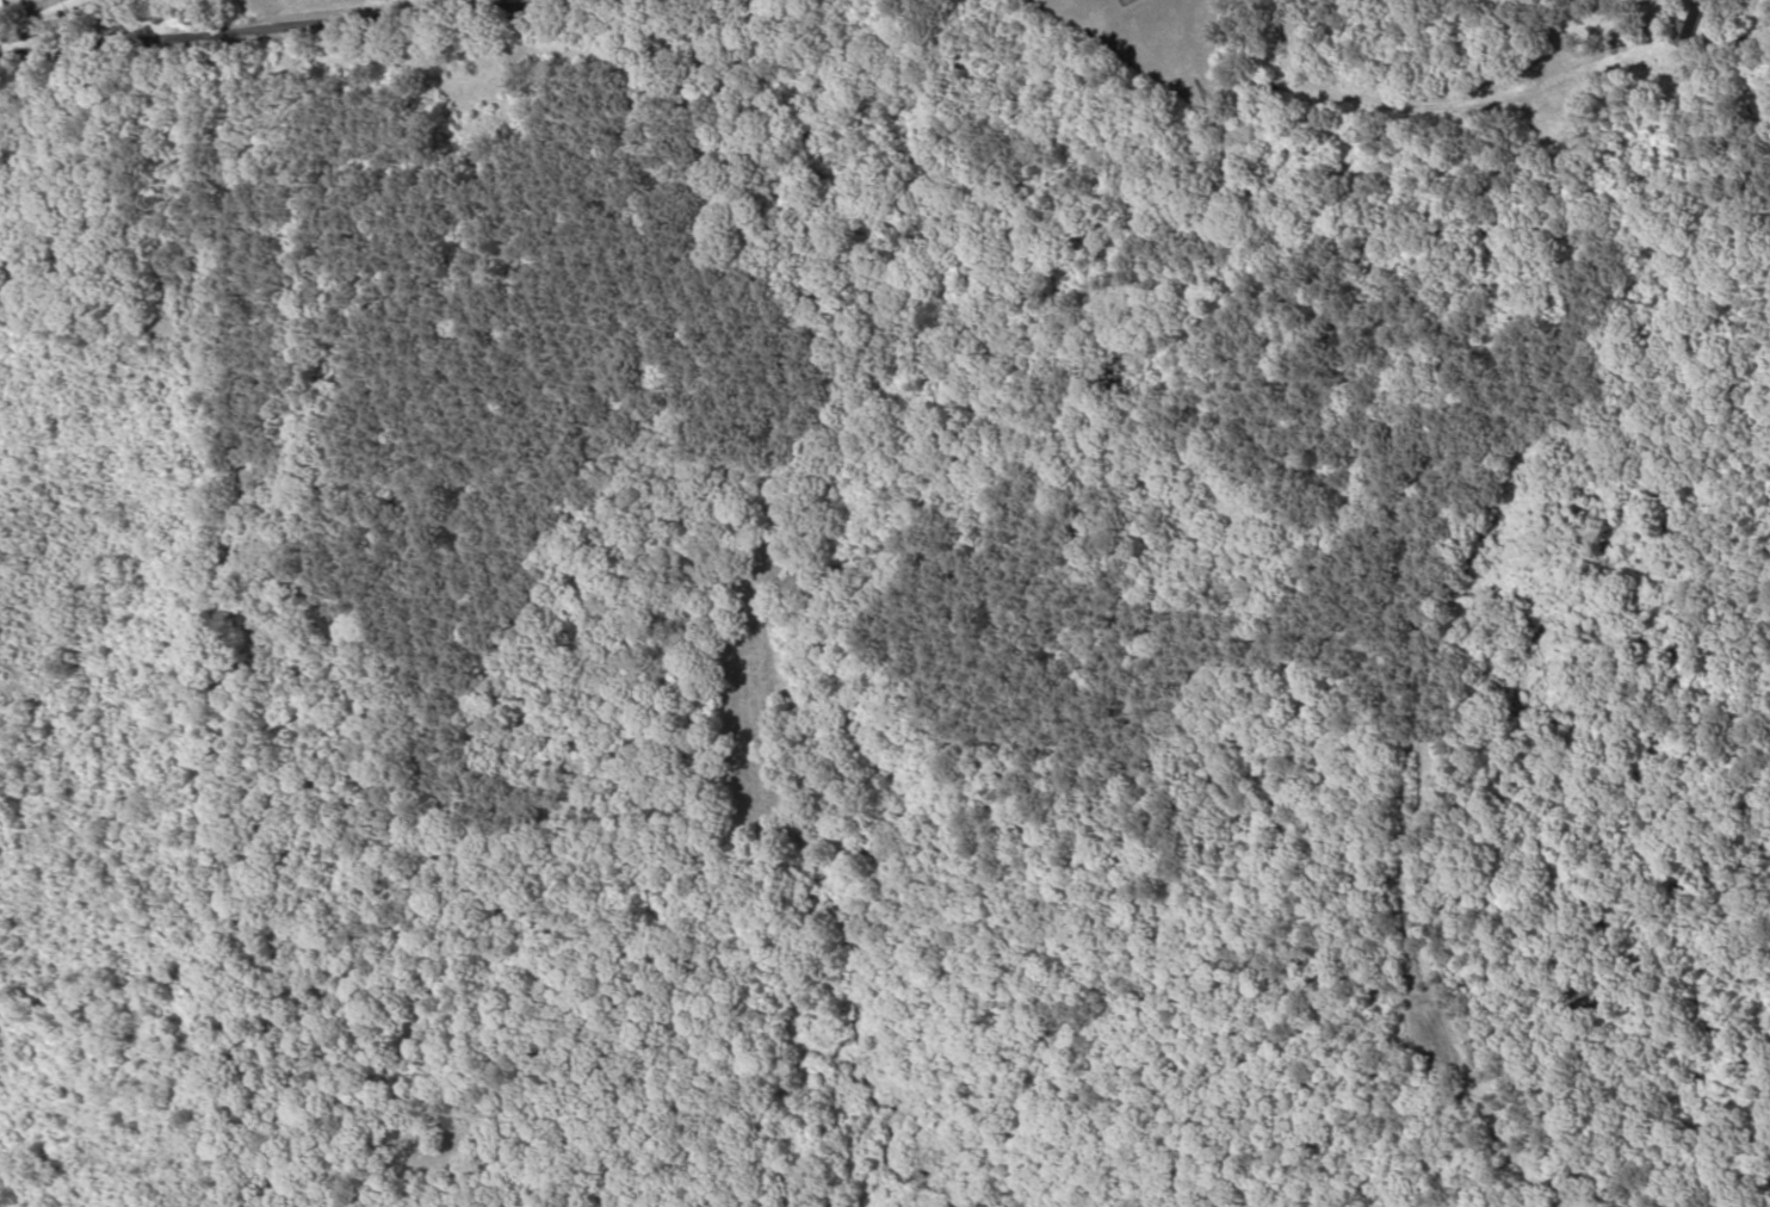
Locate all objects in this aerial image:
building: (58, 8)
building: (4, 13)
road: (225, 29)

